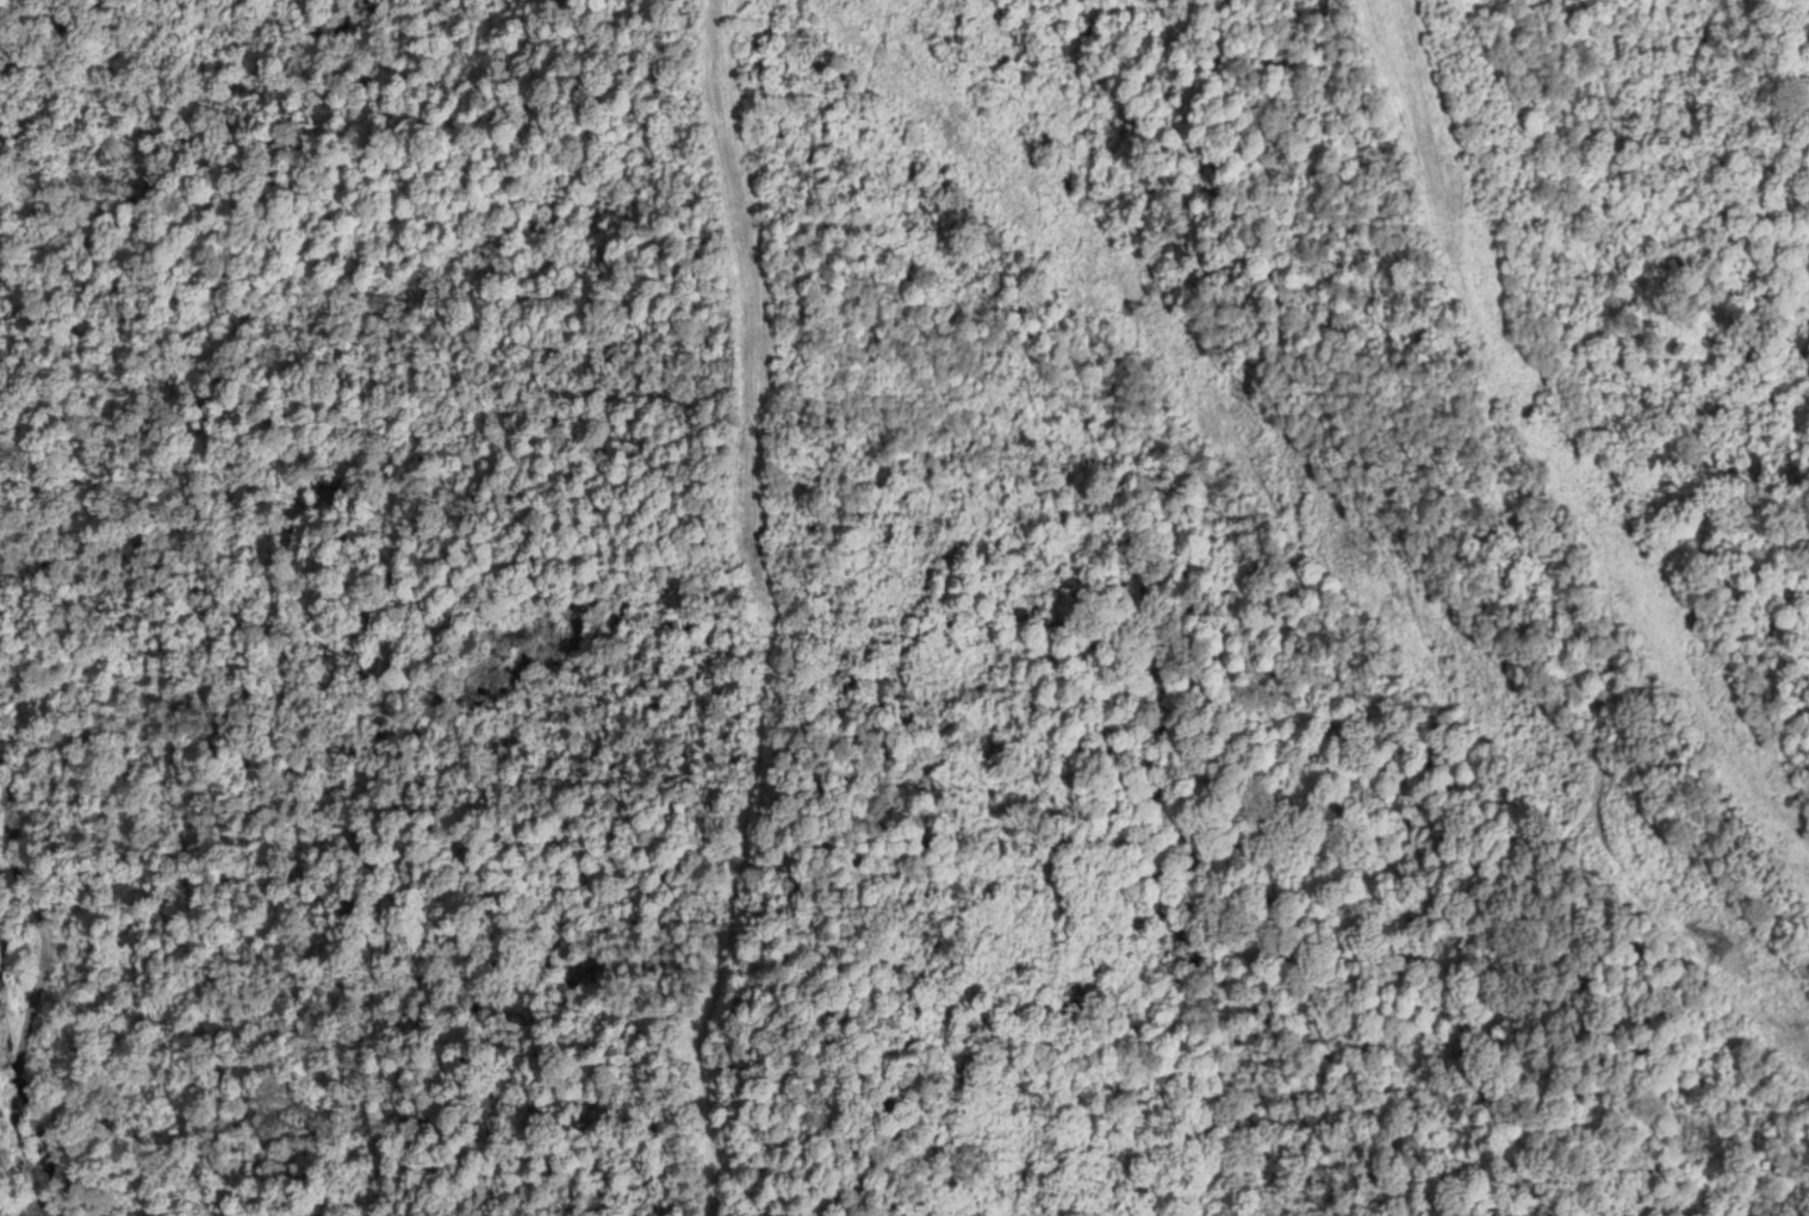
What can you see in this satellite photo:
power tower: (1721, 944)
road: (37, 993)

